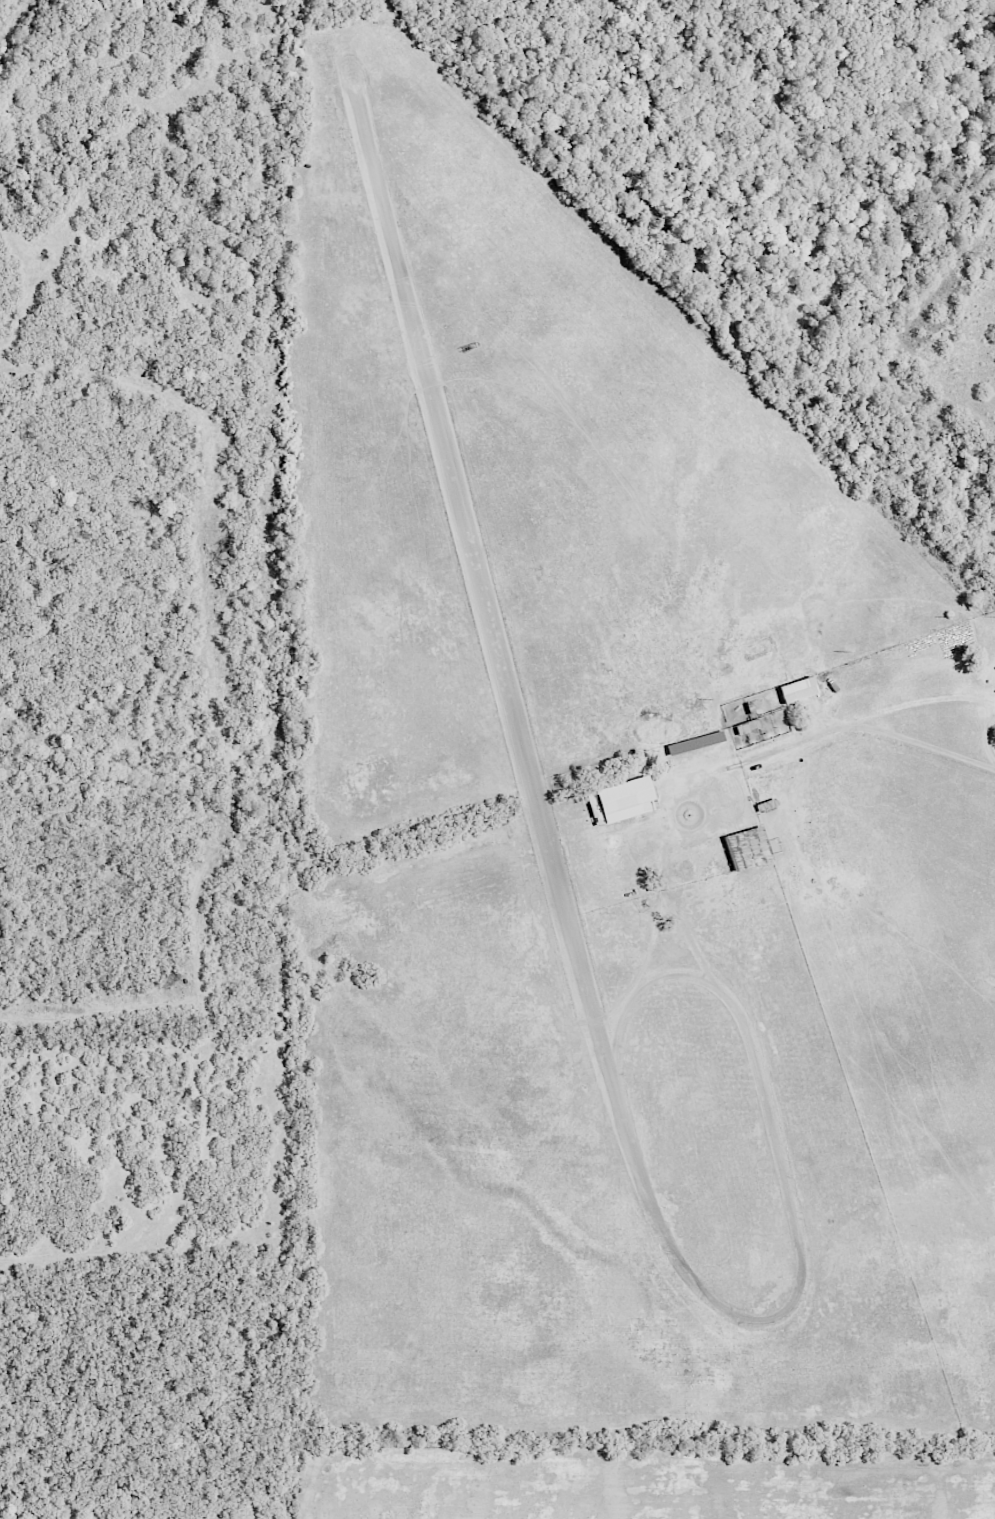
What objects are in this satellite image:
building: (799, 689)
road: (920, 703)
building: (748, 726)
road: (872, 729)
road: (988, 738)
building: (627, 799)
building: (749, 848)

